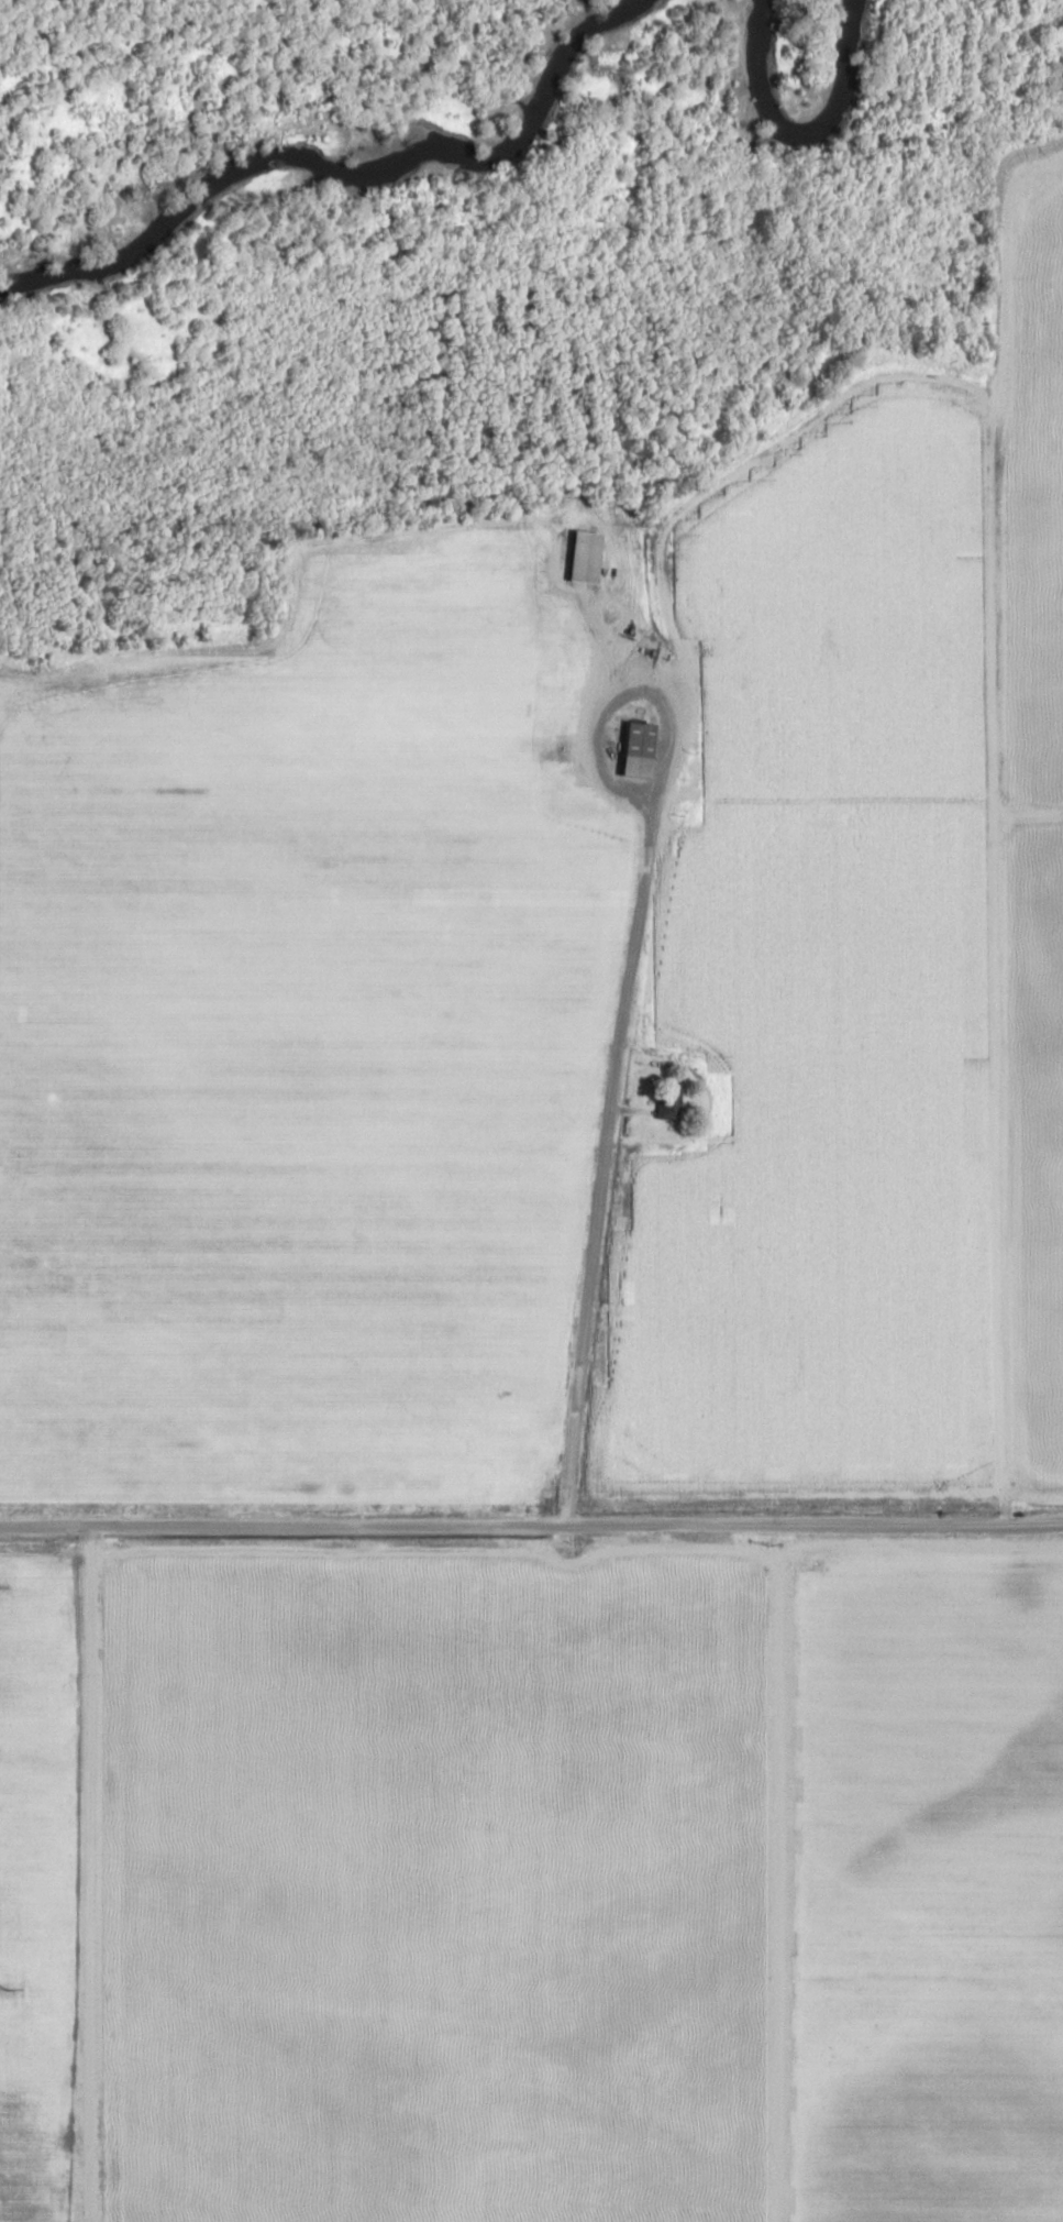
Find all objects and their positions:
building: (586, 557)
building: (638, 751)
building: (669, 1102)
road: (609, 1121)
road: (531, 1525)

